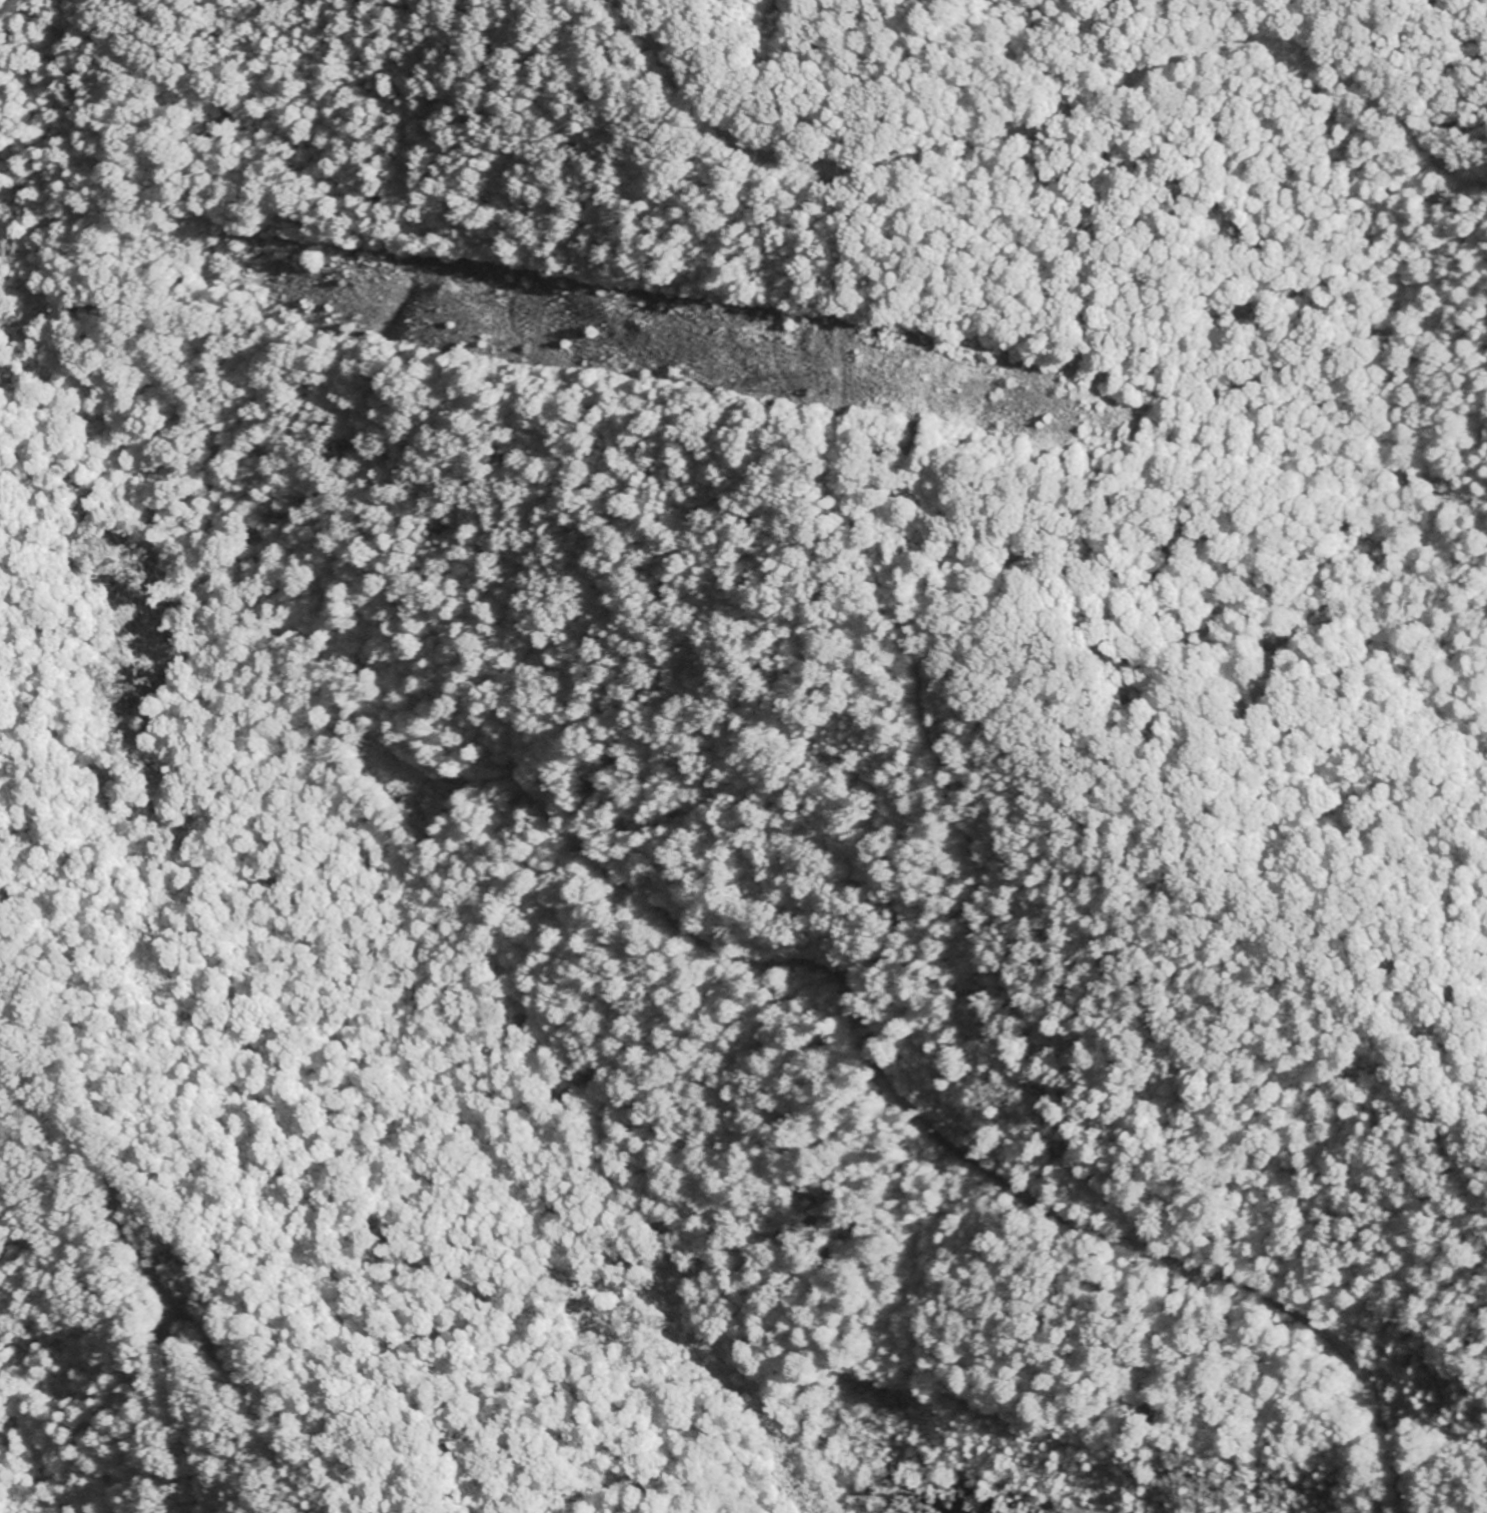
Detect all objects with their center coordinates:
power tower: (815, 381)

